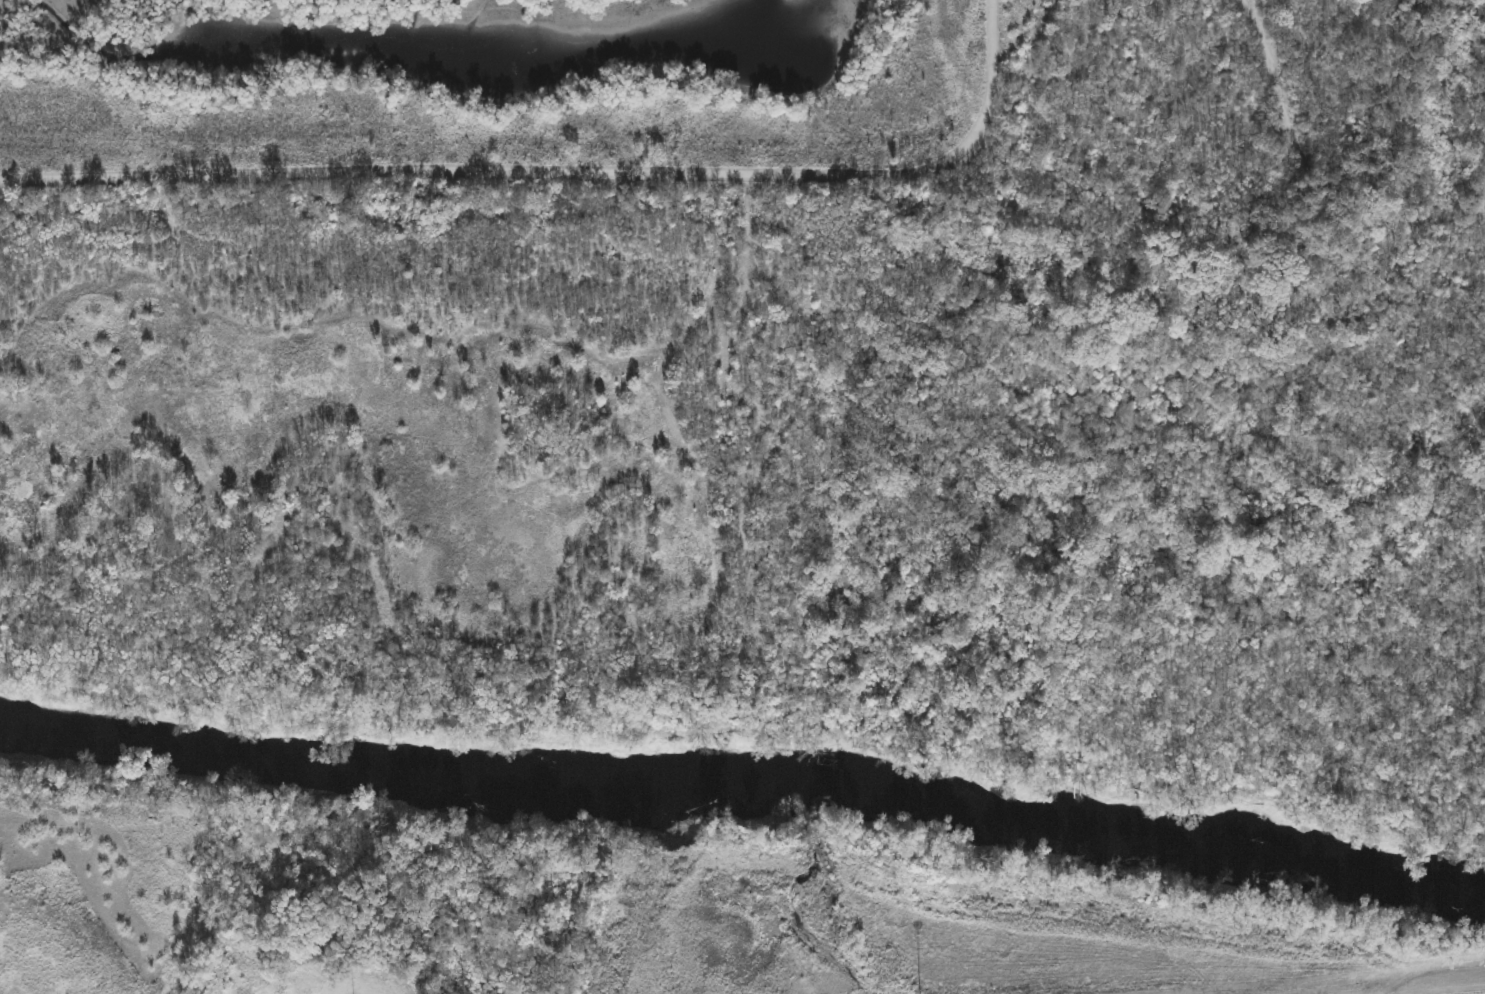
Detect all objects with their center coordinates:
road: (562, 168)
river: (743, 773)

